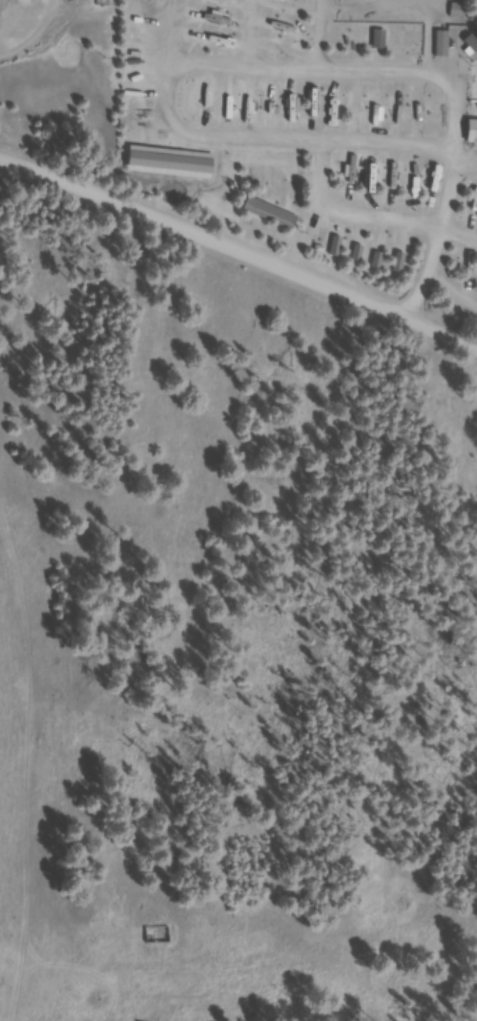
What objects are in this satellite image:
building: (469, 0)
building: (284, 8)
road: (370, 11)
road: (178, 34)
road: (429, 35)
building: (472, 42)
road: (177, 69)
building: (297, 110)
building: (339, 111)
building: (318, 112)
building: (381, 115)
building: (476, 133)
road: (469, 165)
road: (368, 215)
building: (276, 216)
road: (445, 222)
road: (239, 245)
road: (419, 298)
road: (450, 302)
building: (161, 937)

